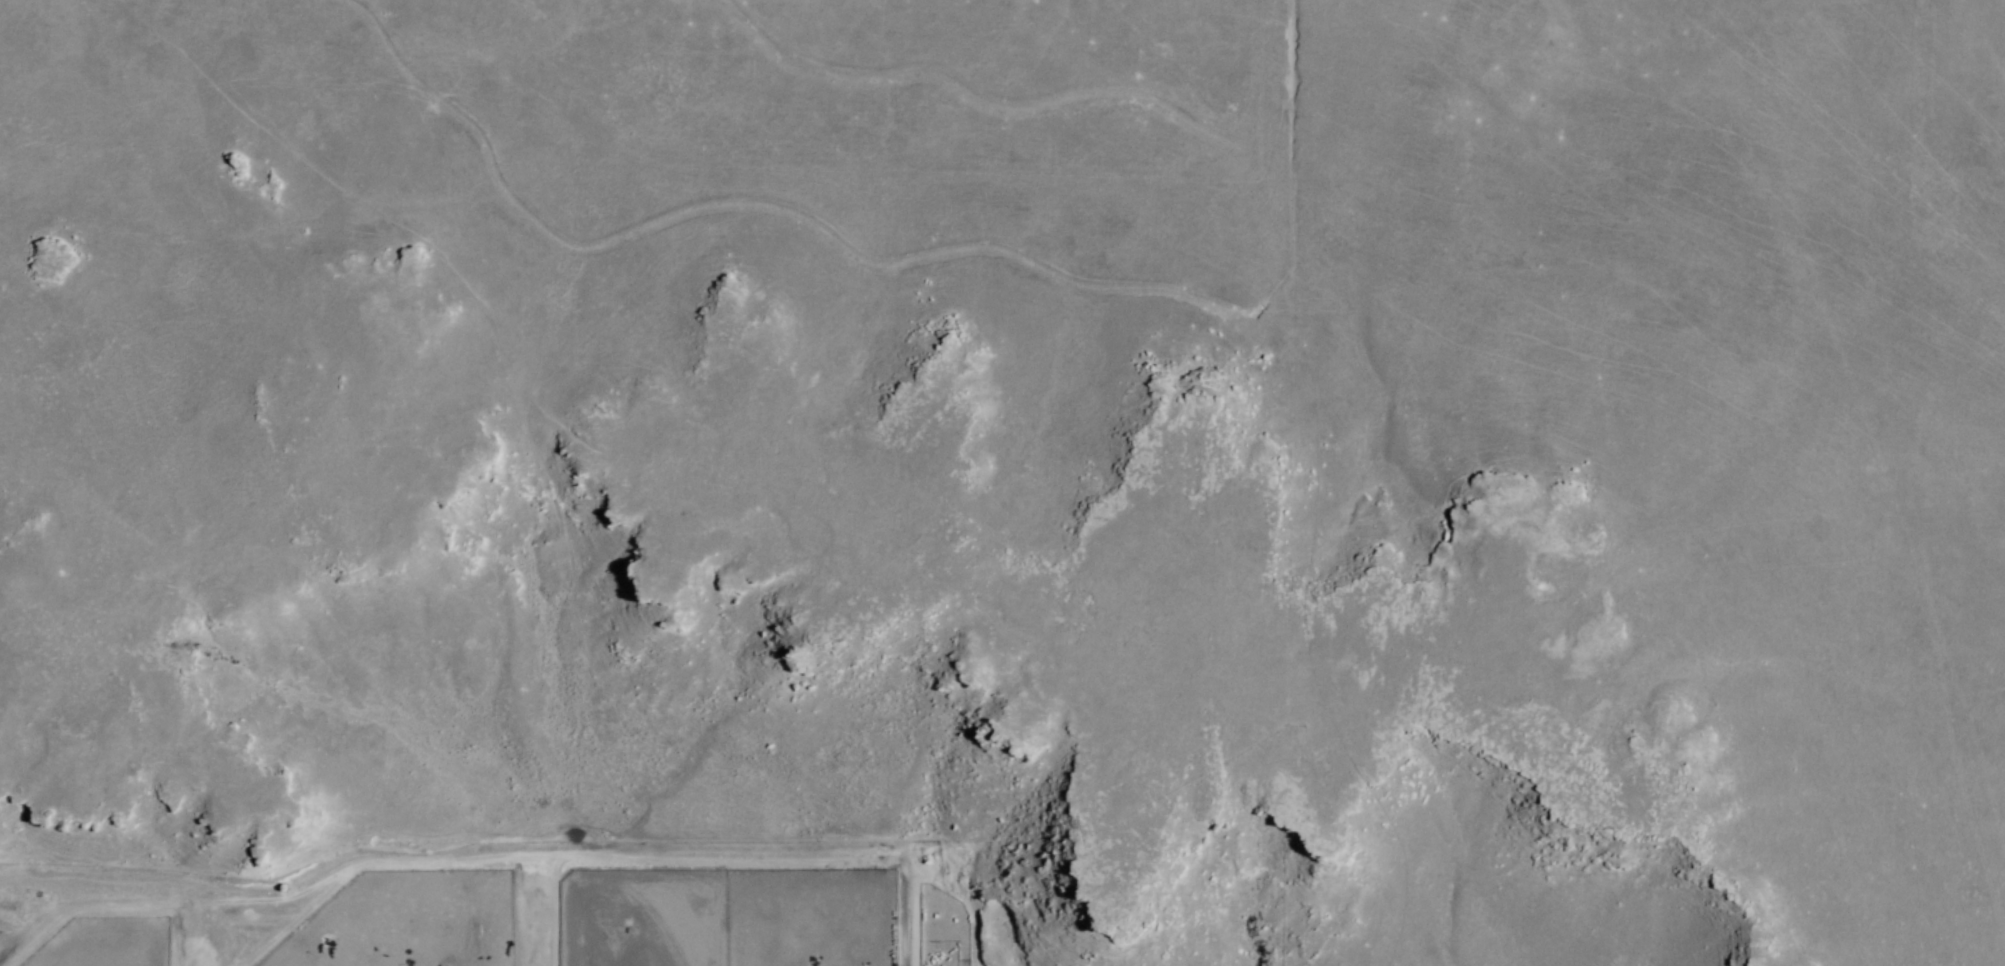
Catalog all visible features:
road: (542, 914)
road: (910, 915)
road: (196, 925)

